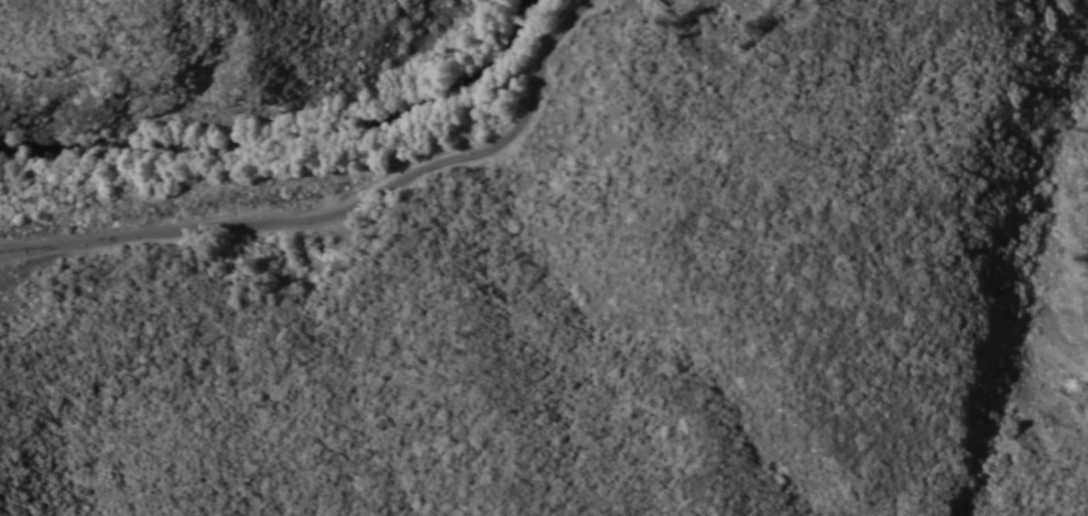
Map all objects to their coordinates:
river: (289, 134)
road: (338, 209)

